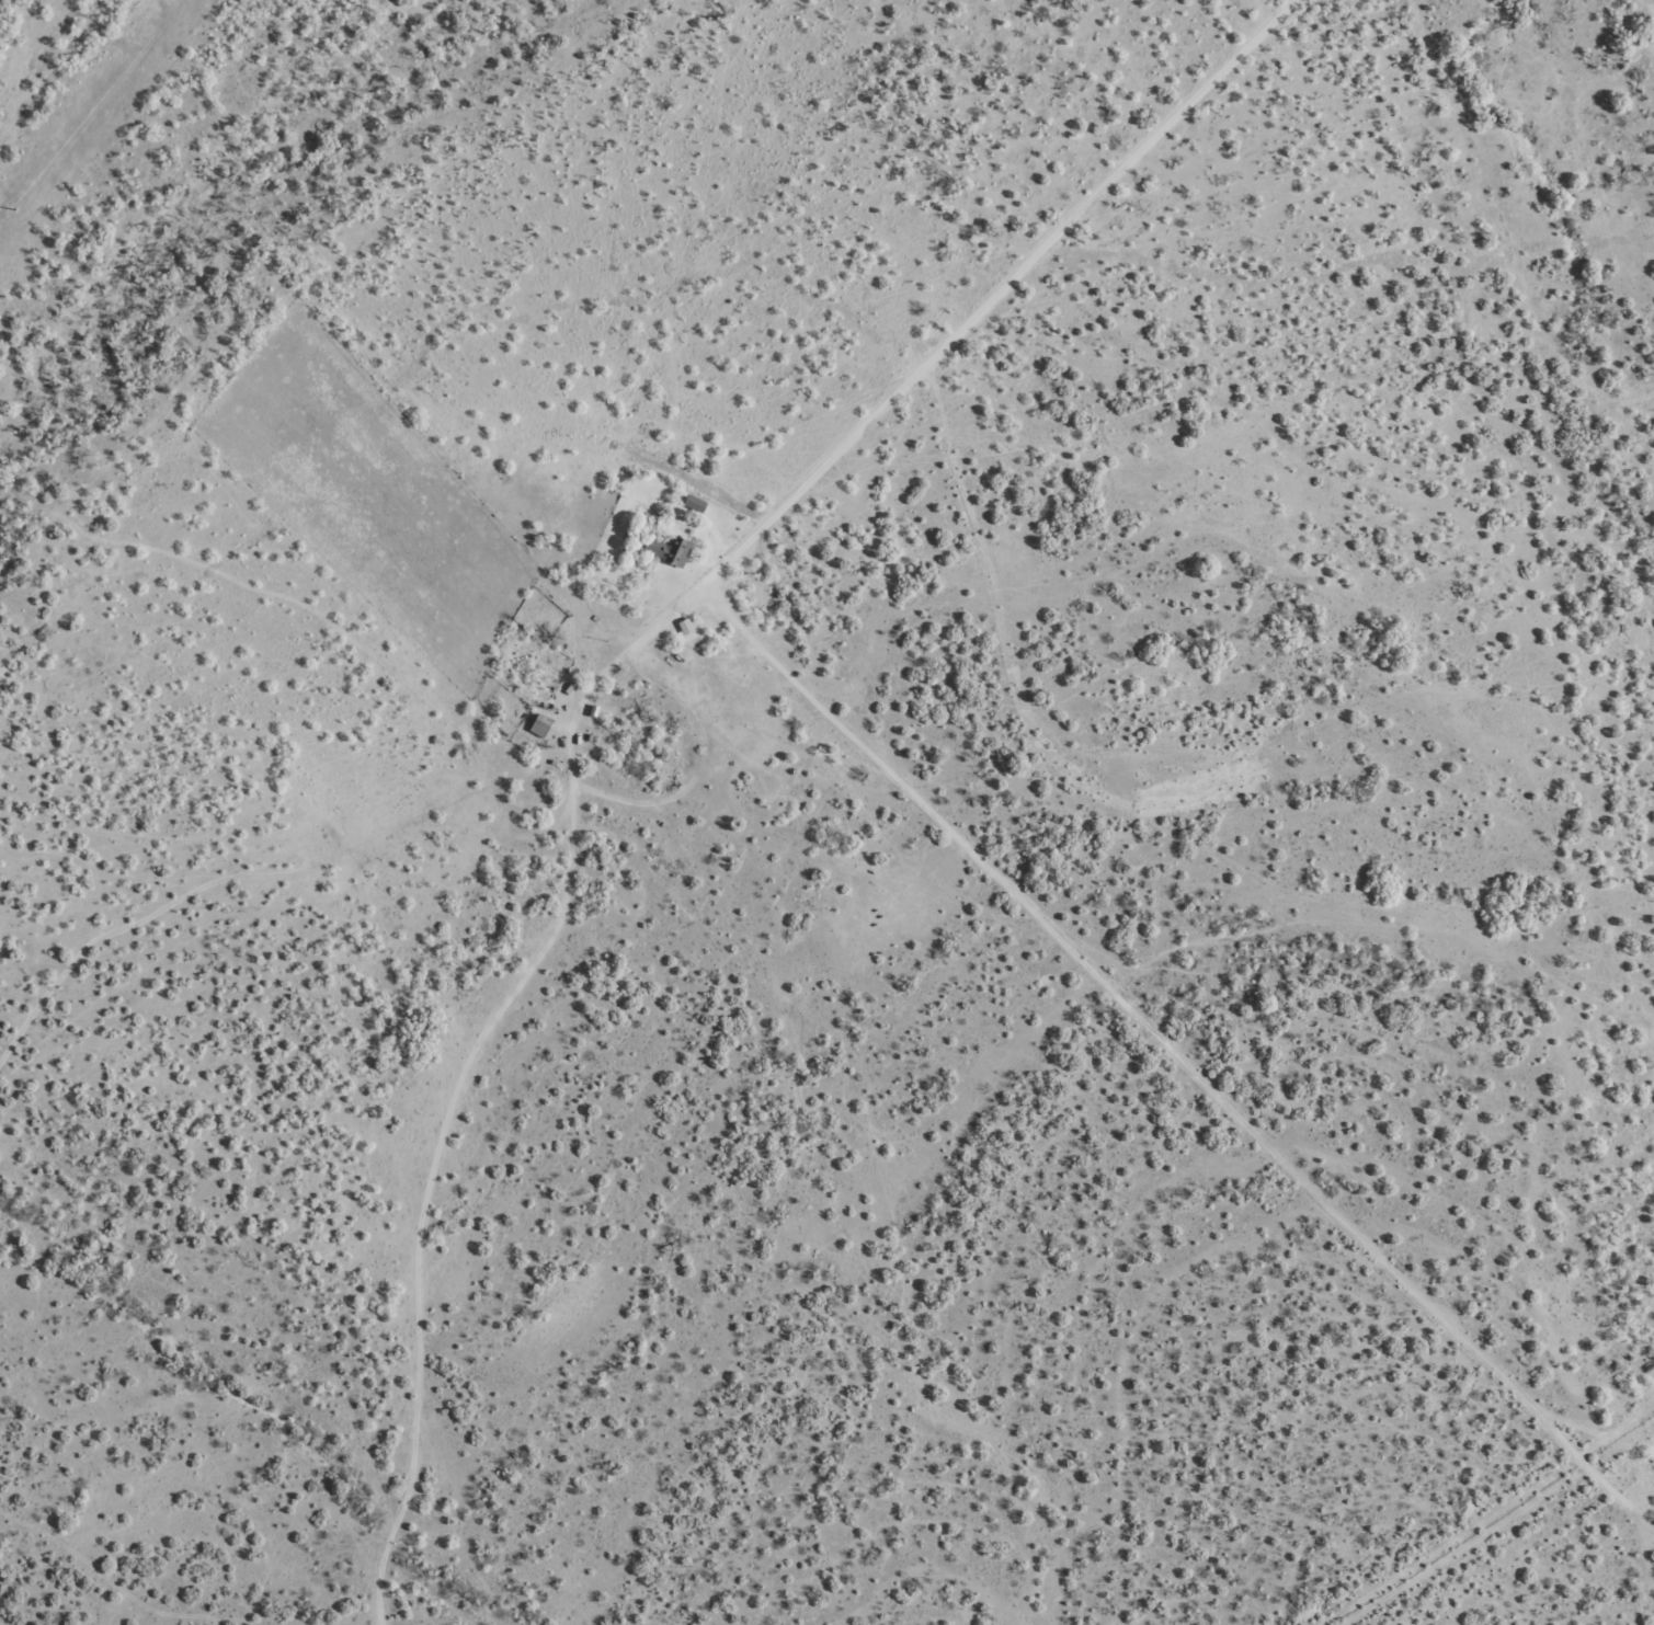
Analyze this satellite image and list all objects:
road: (76, 92)
river: (181, 170)
power tower: (11, 214)
building: (671, 550)
building: (683, 625)
road: (654, 700)

